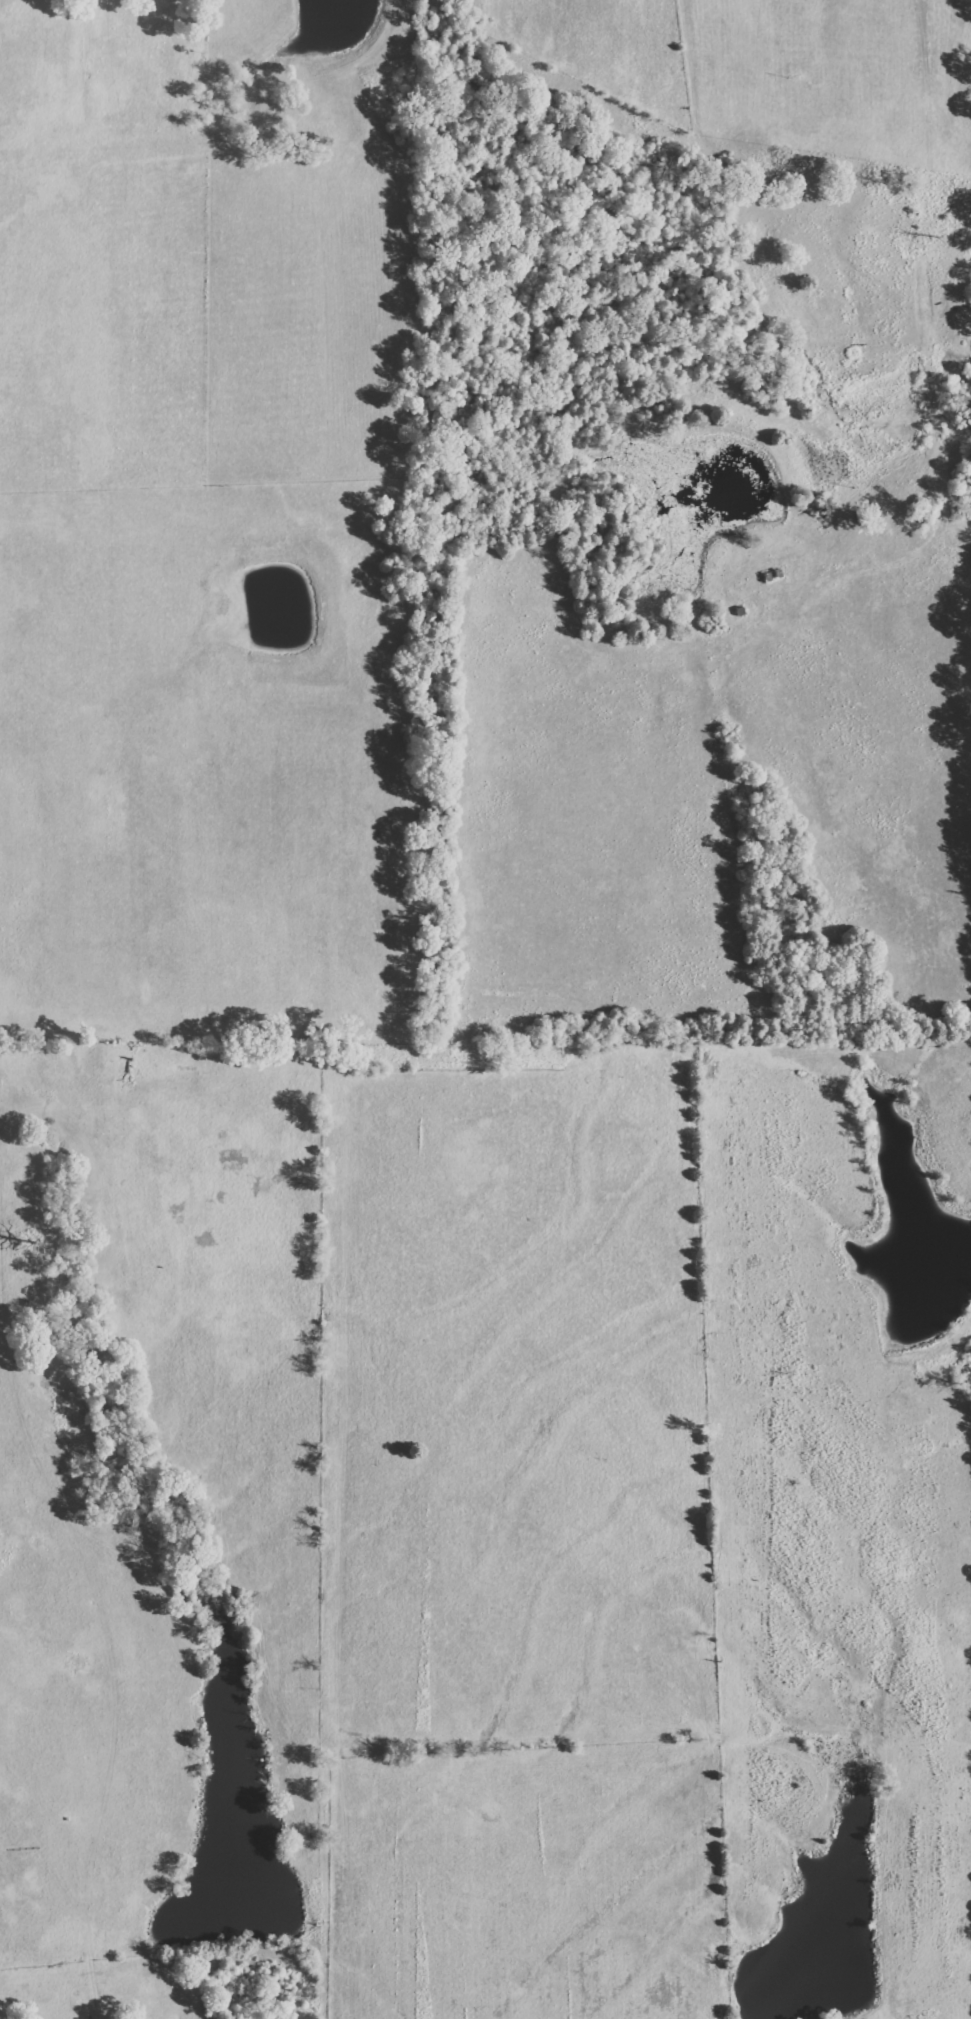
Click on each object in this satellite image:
park: (124, 2008)

